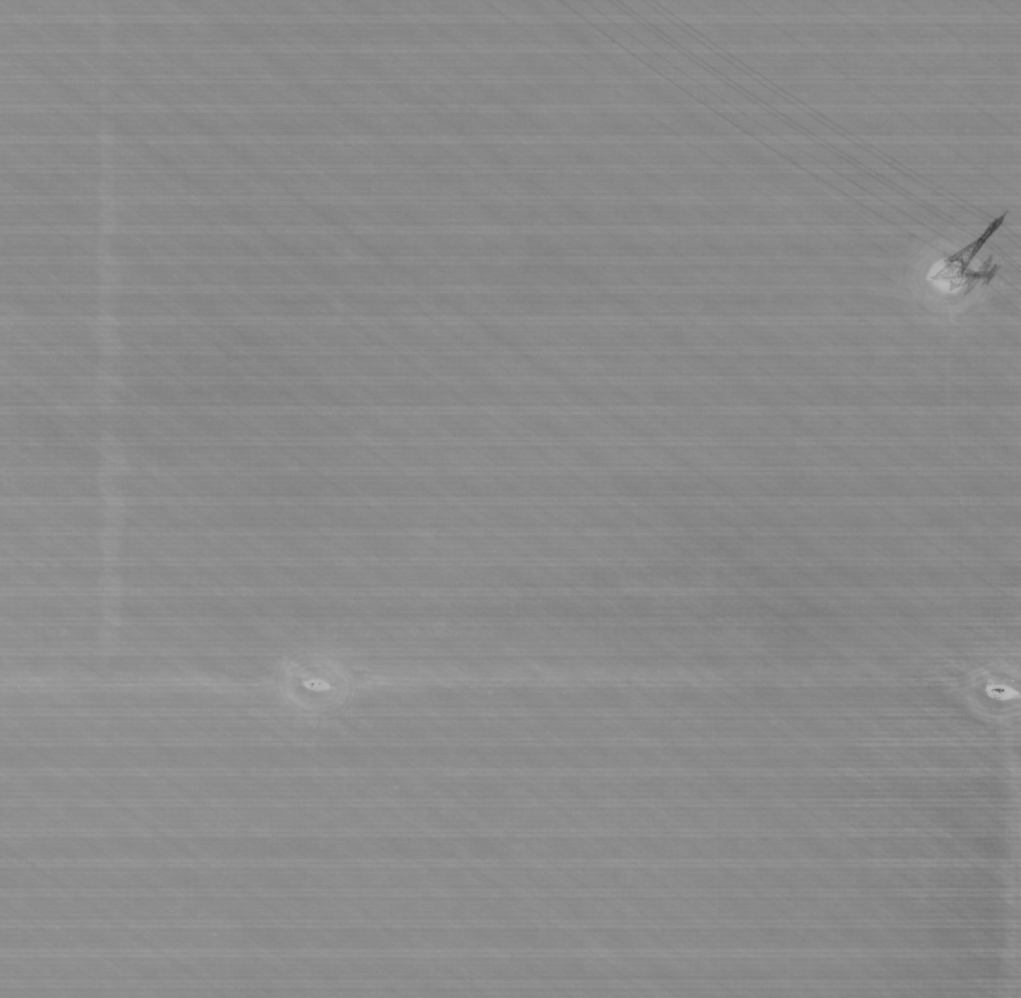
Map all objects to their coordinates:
power tower: (946, 275)
road: (592, 747)

